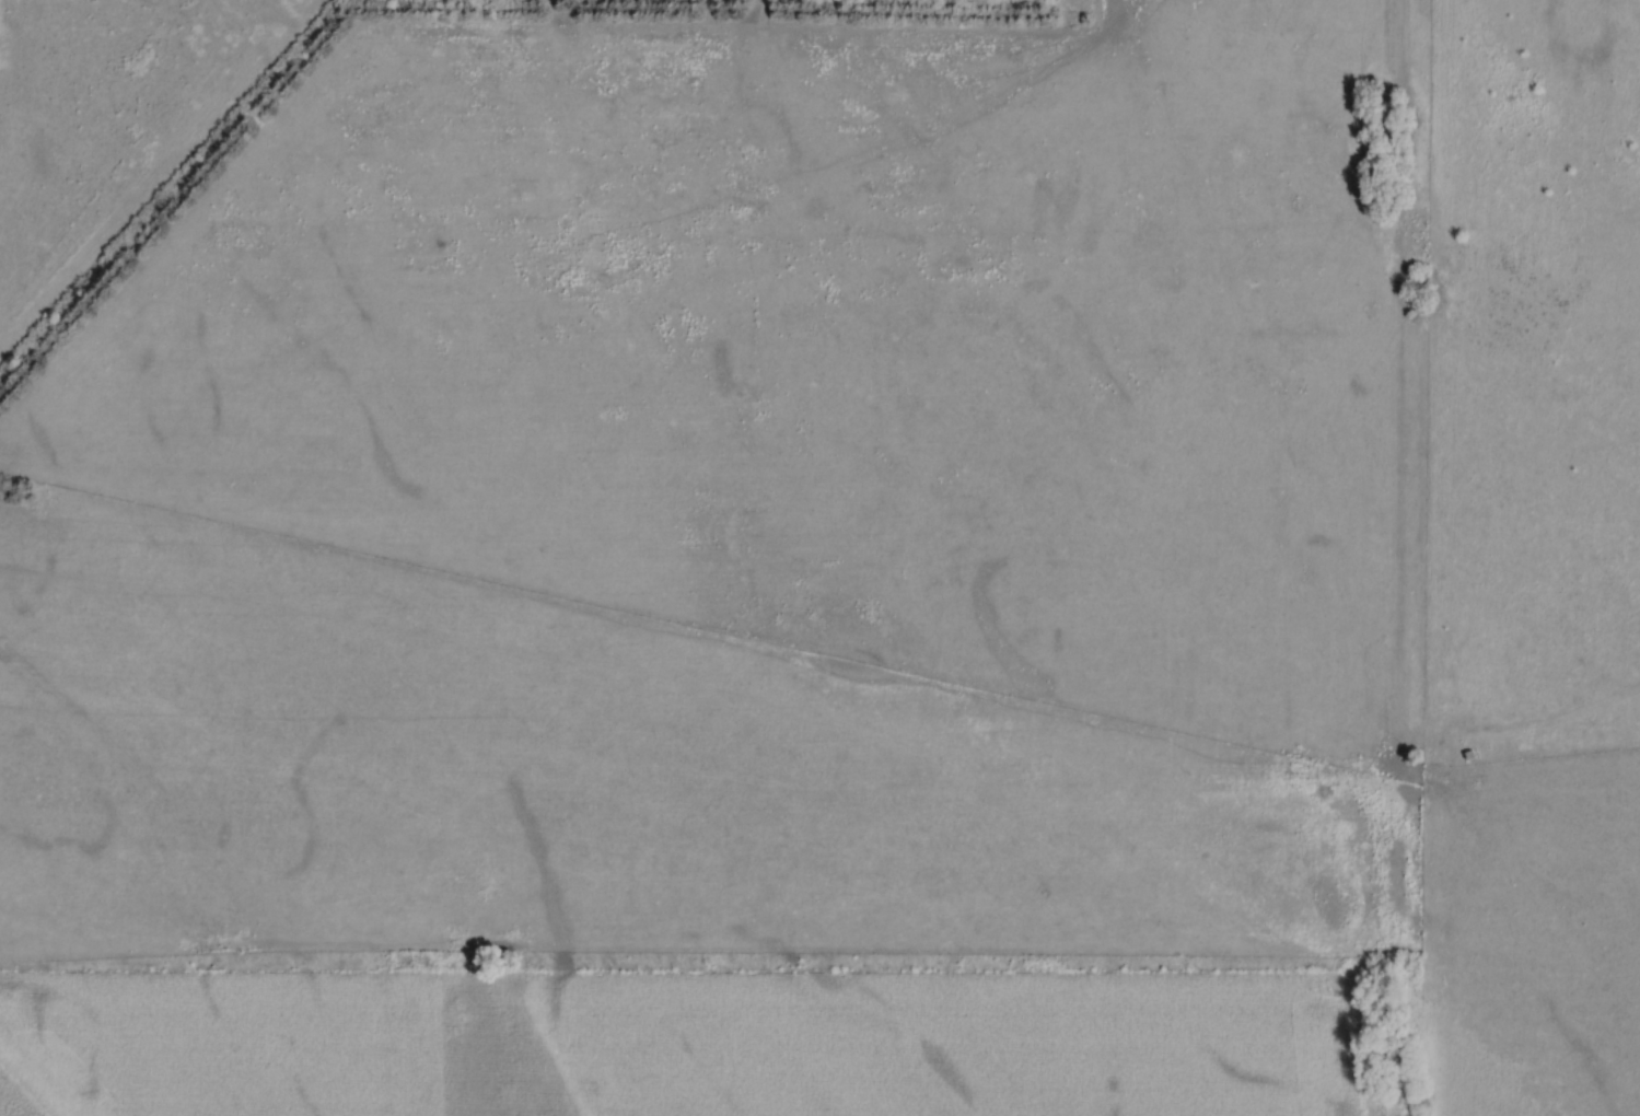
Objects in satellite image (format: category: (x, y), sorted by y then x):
road: (1549, 723)

